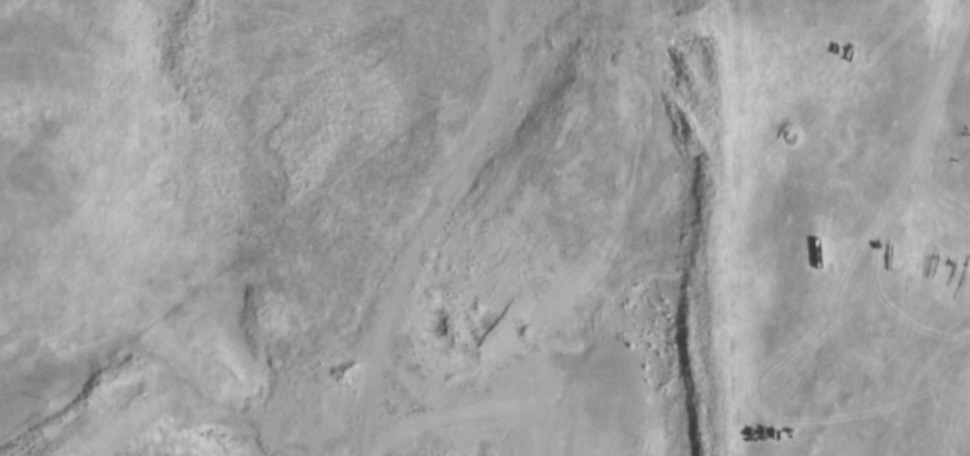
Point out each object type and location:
road: (420, 224)
quarry: (468, 297)

